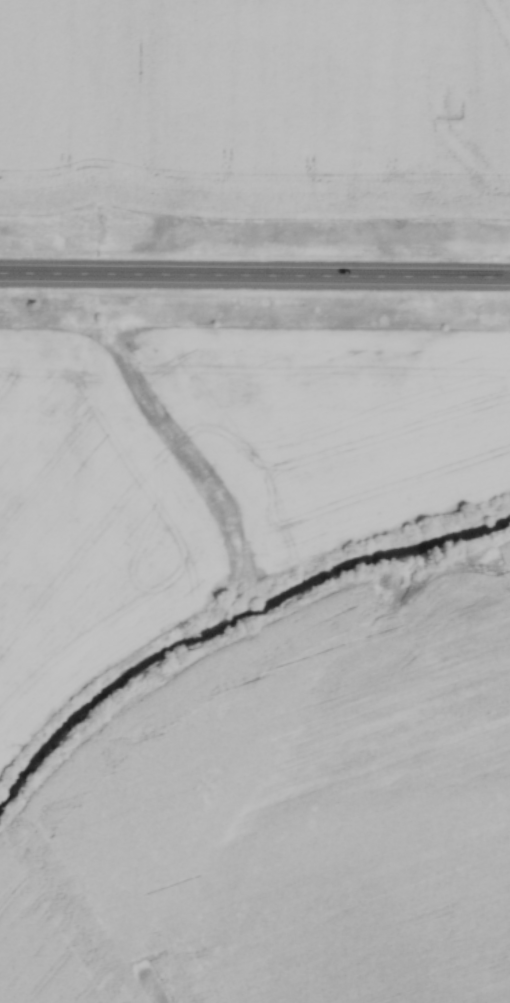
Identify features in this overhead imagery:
road: (255, 281)

